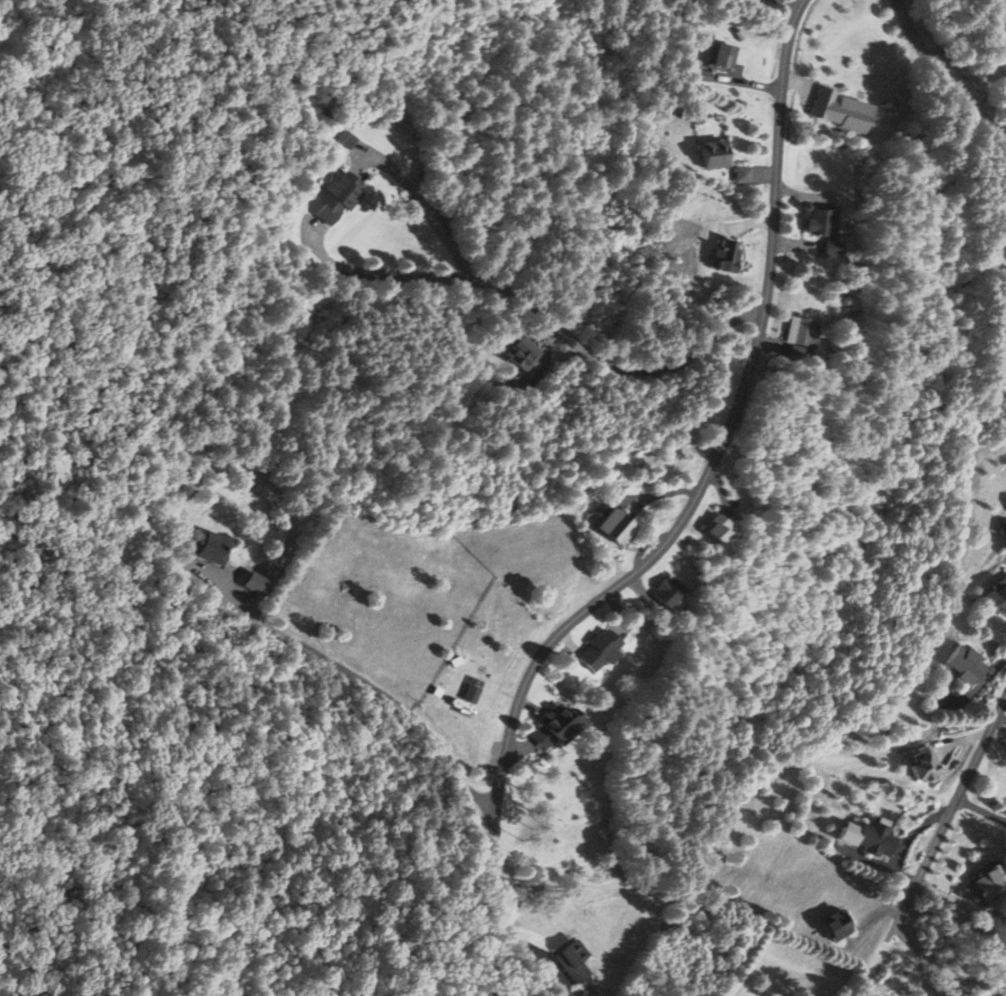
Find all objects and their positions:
building: (717, 57)
road: (945, 75)
building: (835, 110)
building: (710, 155)
building: (332, 199)
building: (820, 231)
building: (723, 257)
building: (796, 333)
building: (519, 353)
road: (724, 434)
building: (611, 527)
building: (713, 529)
building: (208, 548)
building: (995, 598)
building: (591, 650)
building: (960, 663)
building: (549, 723)
building: (919, 765)
road: (947, 822)
building: (865, 837)
building: (983, 882)
building: (831, 926)

